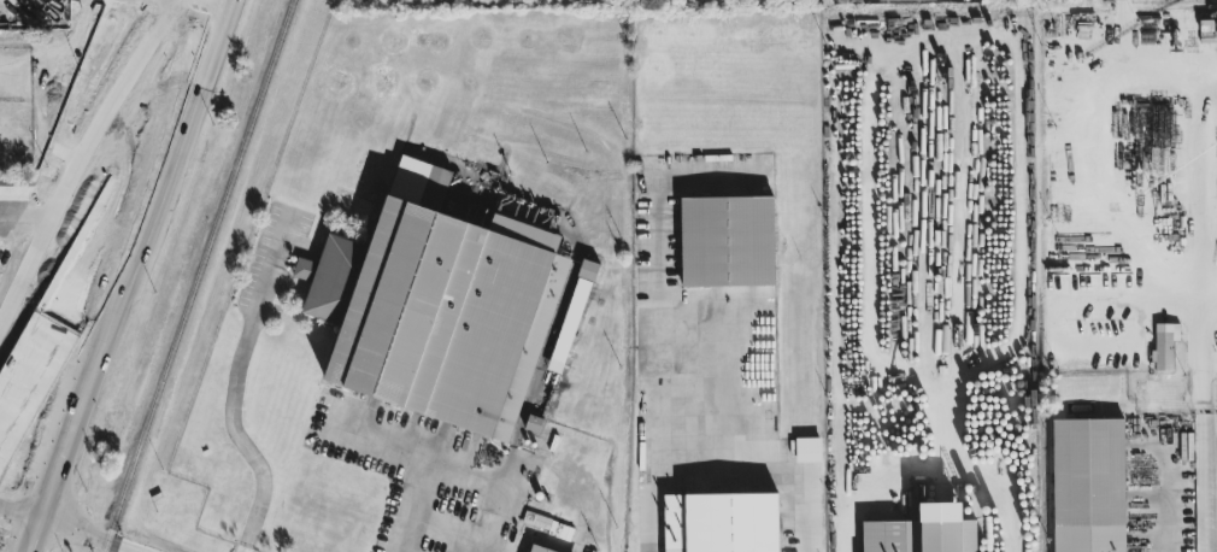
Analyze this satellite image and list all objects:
building: (903, 0)
road: (166, 92)
road: (194, 96)
road: (78, 159)
road: (1107, 162)
building: (525, 213)
building: (727, 242)
railway: (196, 275)
road: (662, 277)
road: (1210, 286)
road: (63, 292)
road: (134, 307)
building: (437, 307)
building: (574, 312)
road: (74, 322)
building: (1165, 346)
road: (231, 381)
road: (1206, 418)
building: (809, 451)
road: (421, 458)
road: (933, 470)
road: (728, 472)
building: (1088, 486)
road: (1160, 500)
road: (413, 506)
road: (22, 513)
building: (721, 523)
building: (923, 533)
road: (86, 535)
building: (537, 550)

